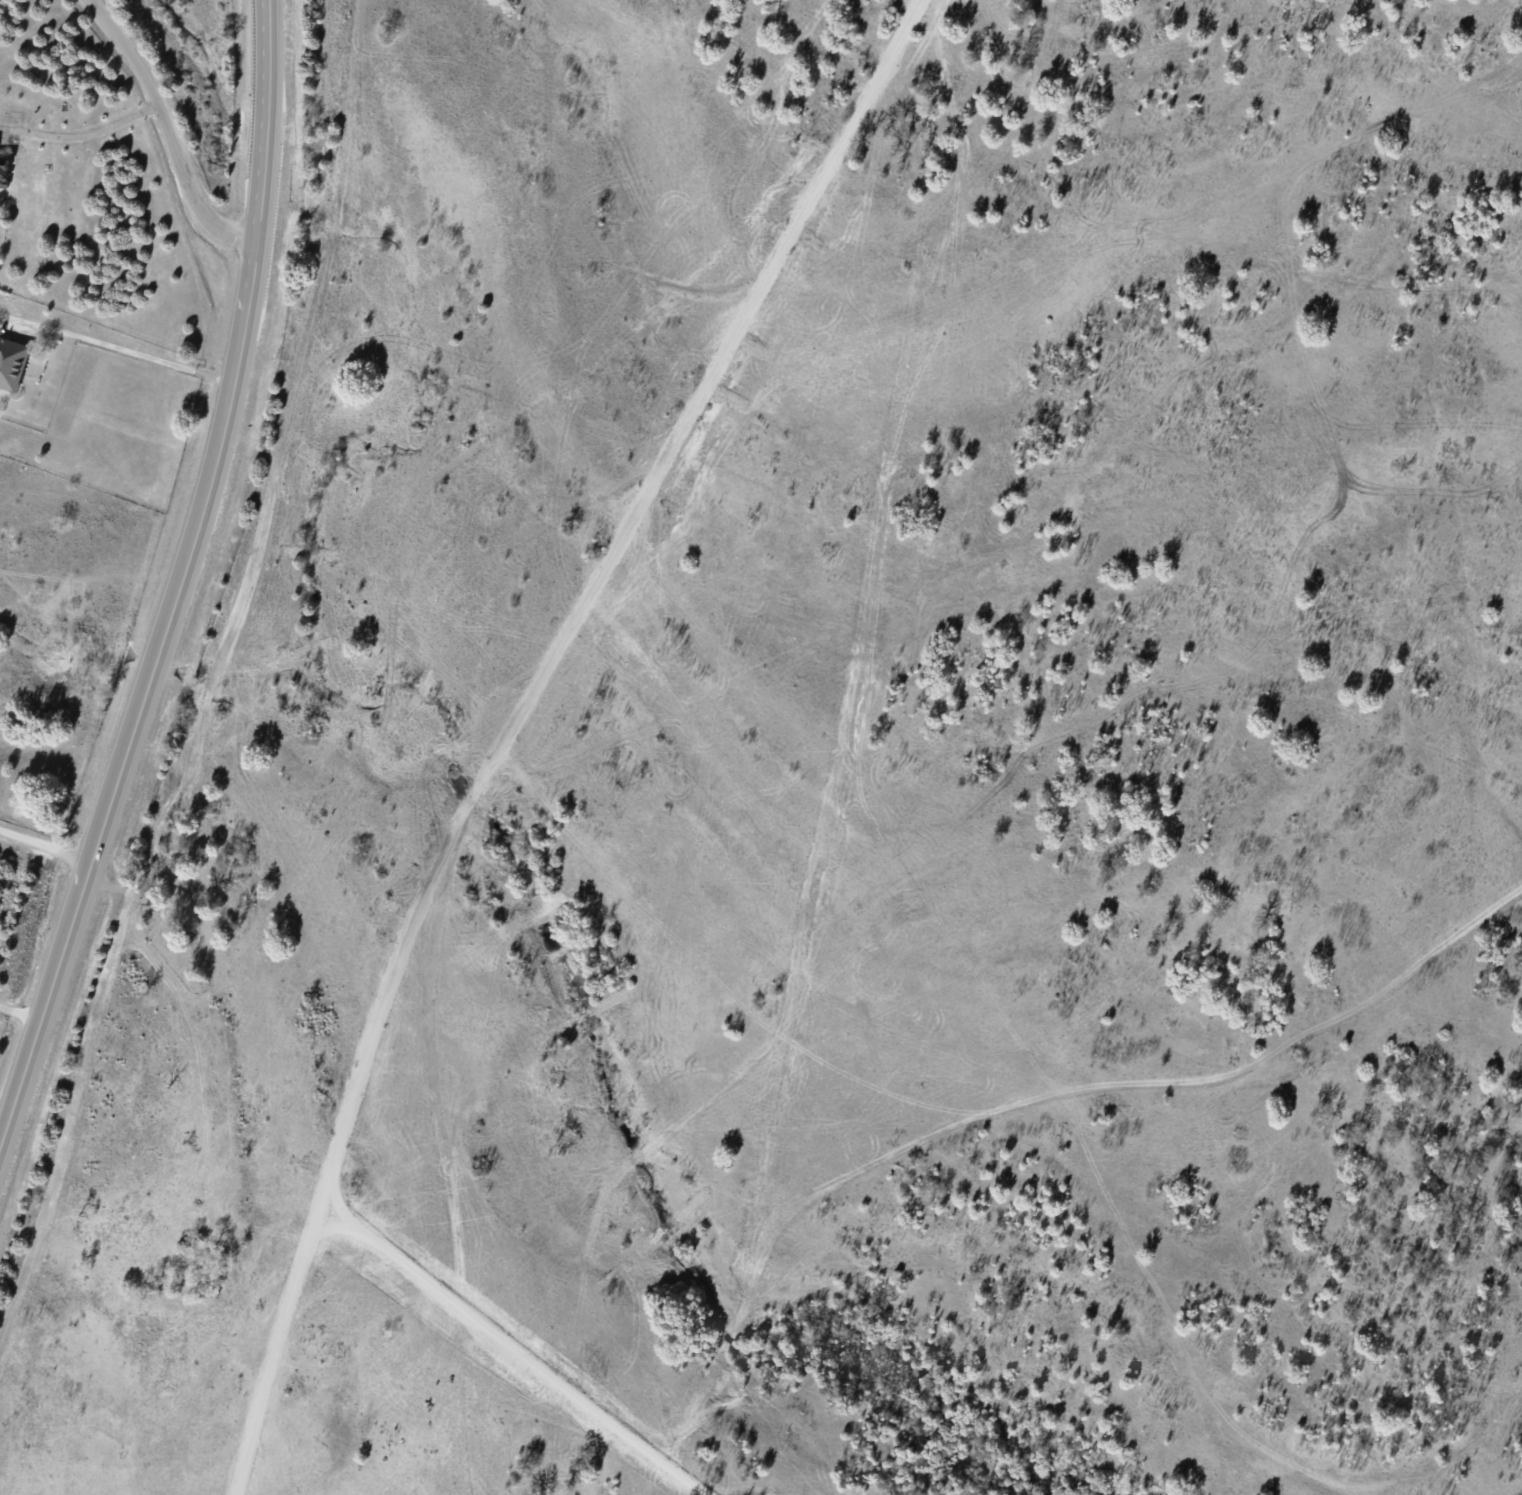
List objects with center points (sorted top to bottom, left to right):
road: (165, 127)
road: (81, 140)
building: (5, 172)
road: (116, 353)
building: (13, 362)
road: (178, 576)
road: (507, 720)

